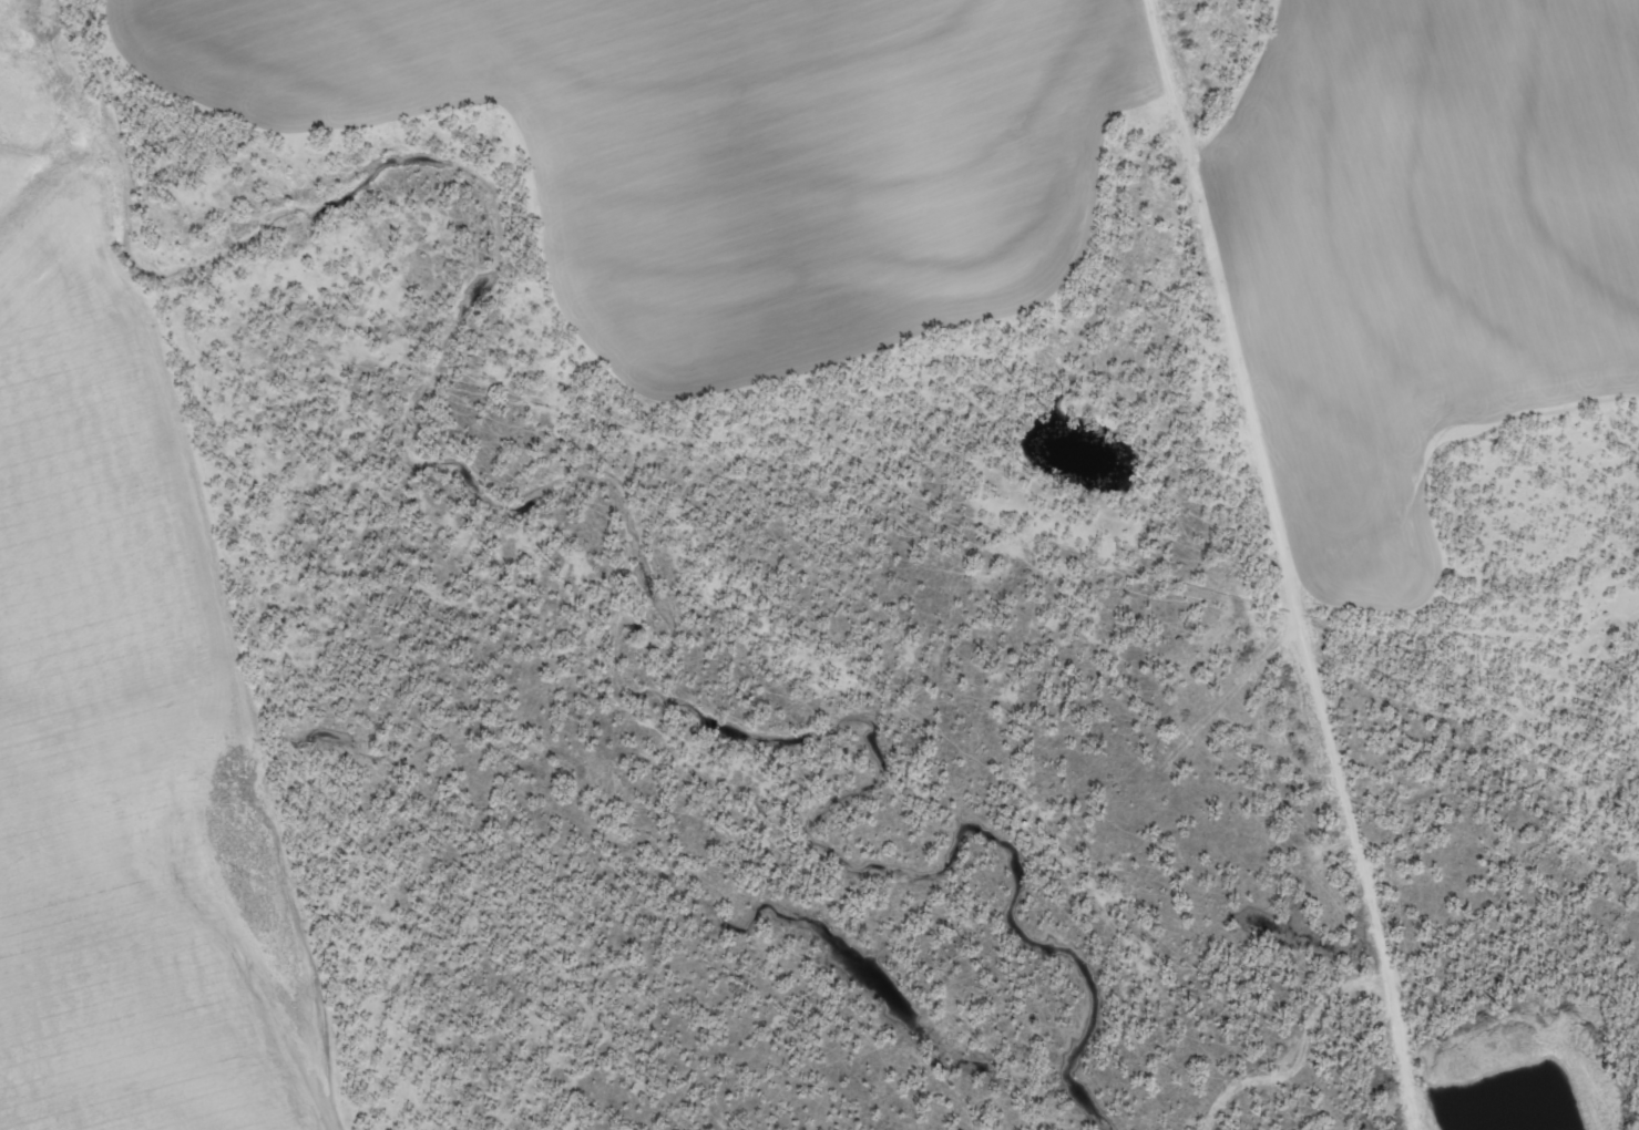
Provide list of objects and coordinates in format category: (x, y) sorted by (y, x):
road: (1266, 568)

